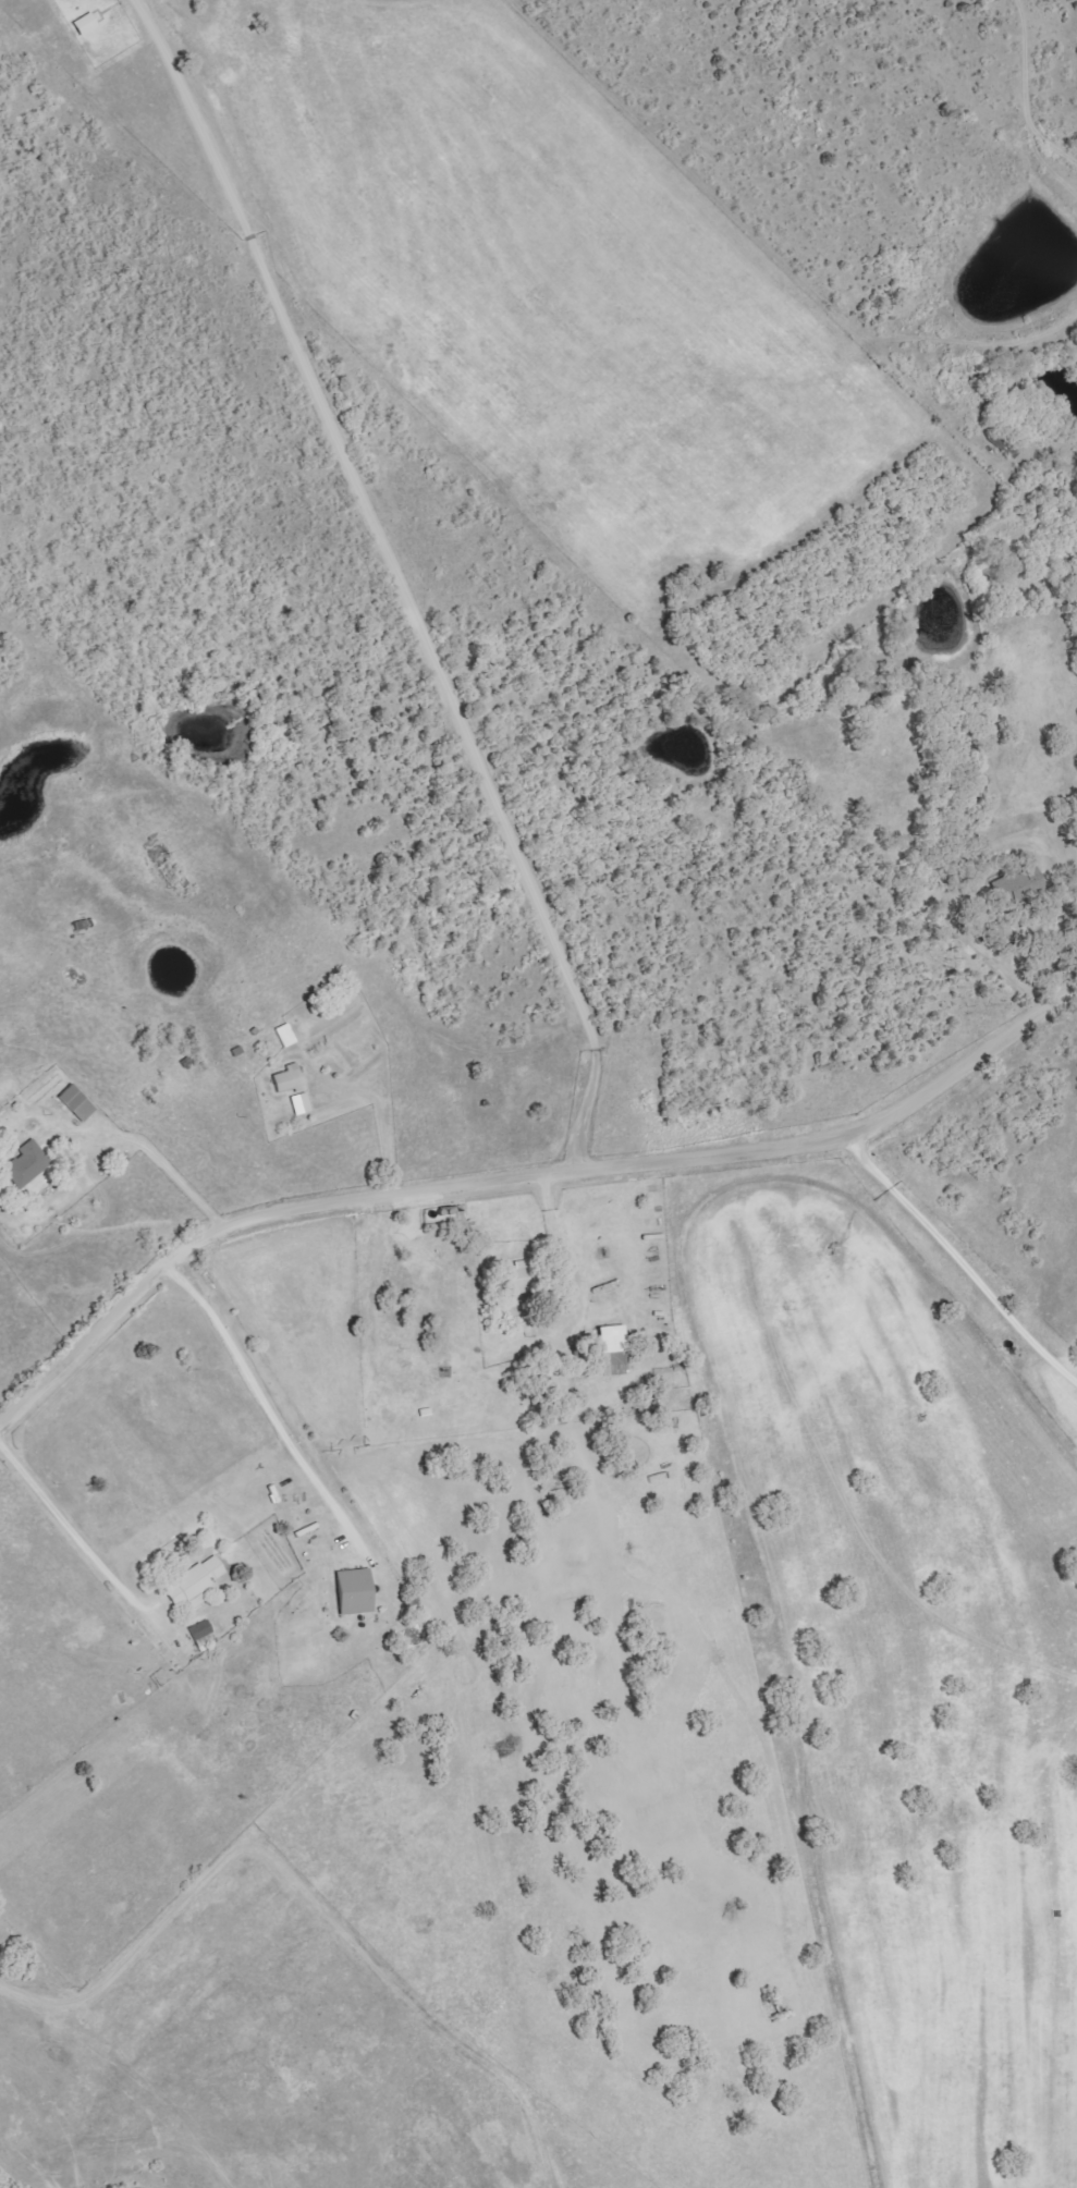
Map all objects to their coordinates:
building: (84, 24)
road: (413, 563)
road: (1017, 950)
building: (287, 1079)
building: (75, 1102)
building: (299, 1103)
road: (380, 1134)
building: (25, 1164)
road: (158, 1168)
road: (522, 1174)
building: (515, 1276)
road: (566, 1346)
building: (612, 1349)
road: (257, 1404)
road: (61, 1528)
building: (194, 1581)
building: (352, 1591)
building: (200, 1634)

